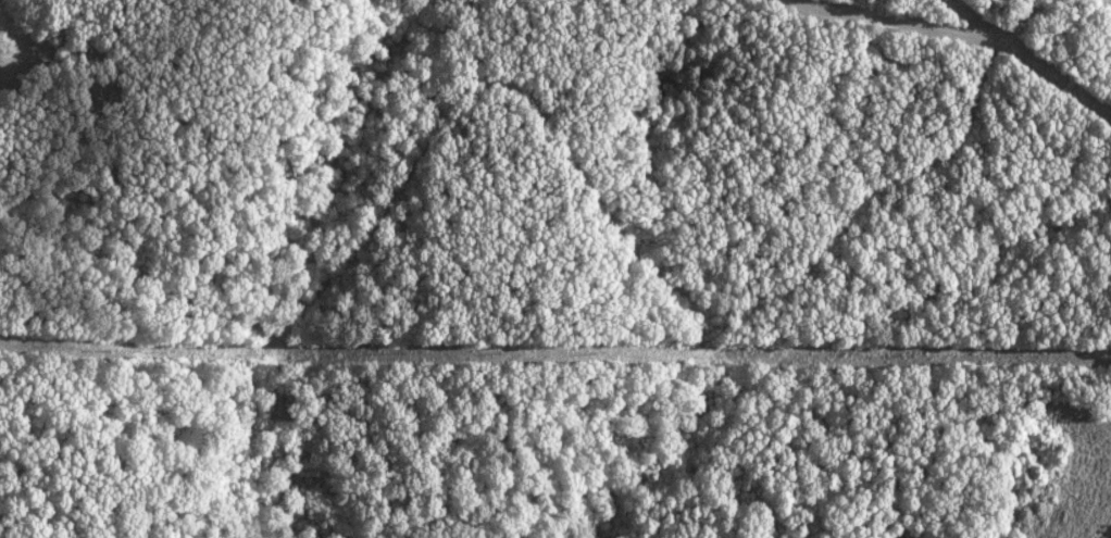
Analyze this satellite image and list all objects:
road: (910, 25)
road: (557, 129)

